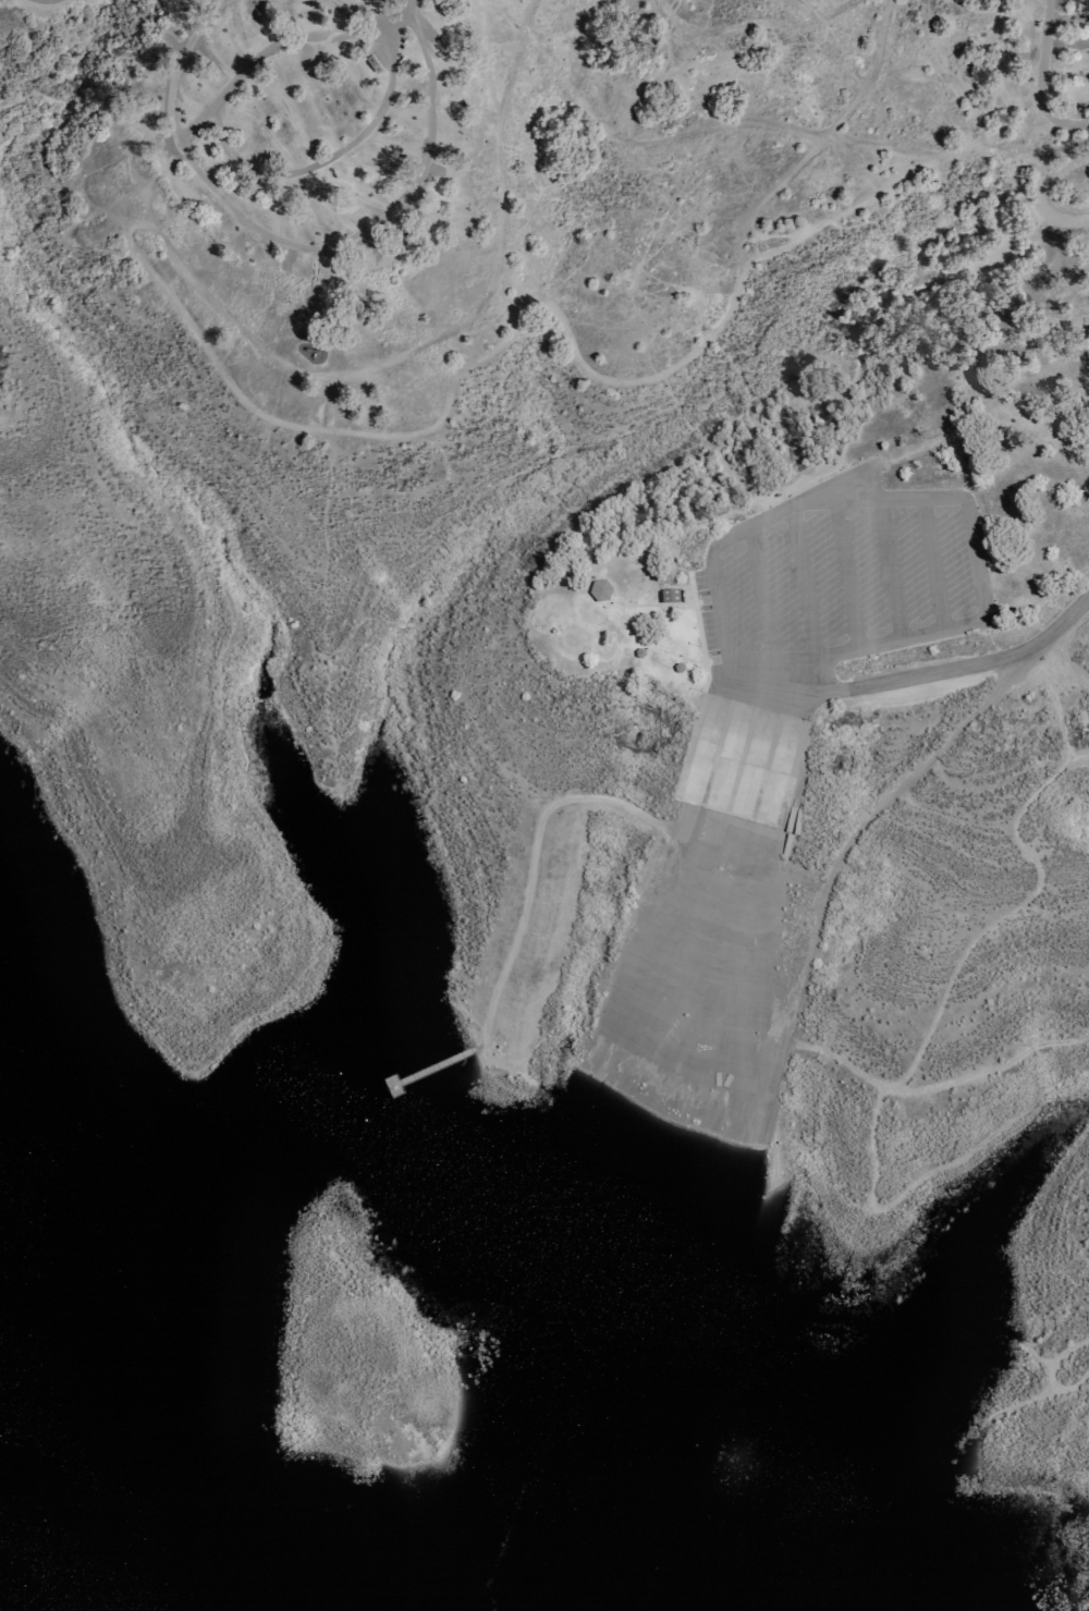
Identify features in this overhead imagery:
road: (369, 14)
building: (1077, 19)
road: (281, 37)
road: (1042, 80)
road: (764, 122)
road: (320, 155)
road: (1042, 191)
road: (302, 240)
road: (233, 387)
road: (933, 499)
road: (933, 565)
road: (890, 570)
road: (846, 576)
park: (594, 577)
road: (803, 583)
parking lot: (844, 583)
building: (601, 590)
building: (671, 595)
road: (617, 606)
road: (761, 608)
road: (698, 631)
road: (651, 646)
road: (920, 674)
road: (859, 822)
road: (531, 852)
road: (709, 908)
pier: (429, 1048)
building: (430, 1063)
road: (507, 1069)
pier: (432, 1072)
pier: (230, 1510)

